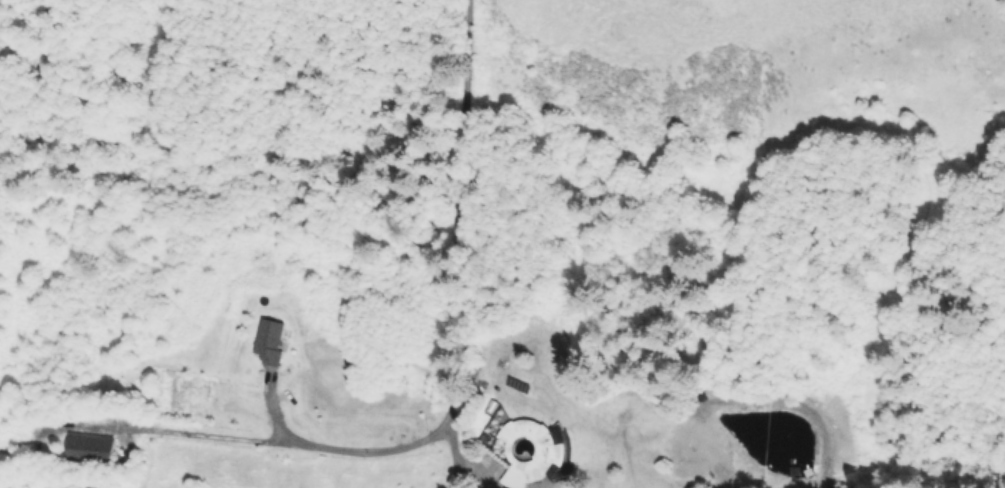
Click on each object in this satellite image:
road: (454, 245)
building: (270, 340)
road: (274, 438)
building: (91, 450)
building: (530, 451)

